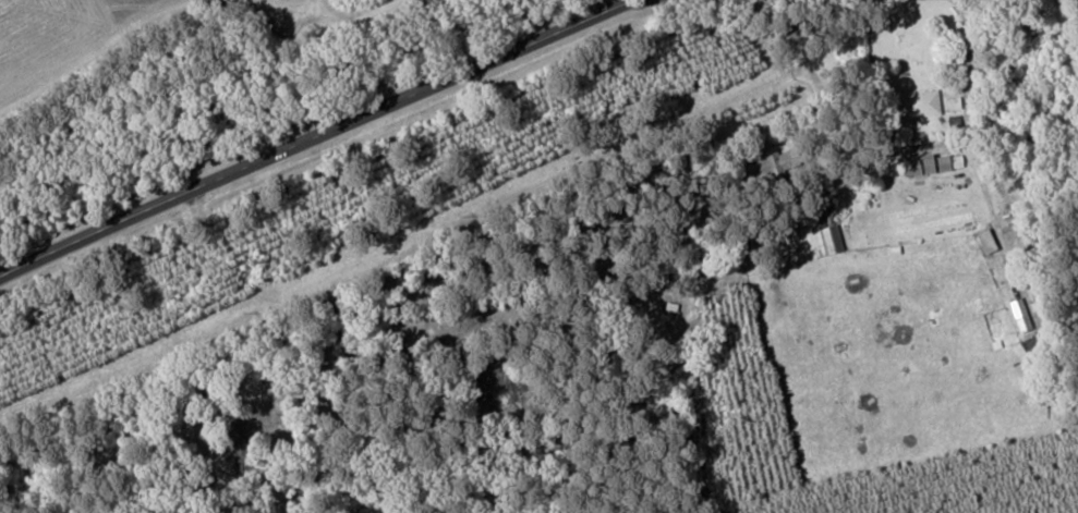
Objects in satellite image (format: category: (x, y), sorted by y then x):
building: (916, 102)
road: (312, 135)
building: (921, 162)
building: (828, 237)
building: (981, 240)

